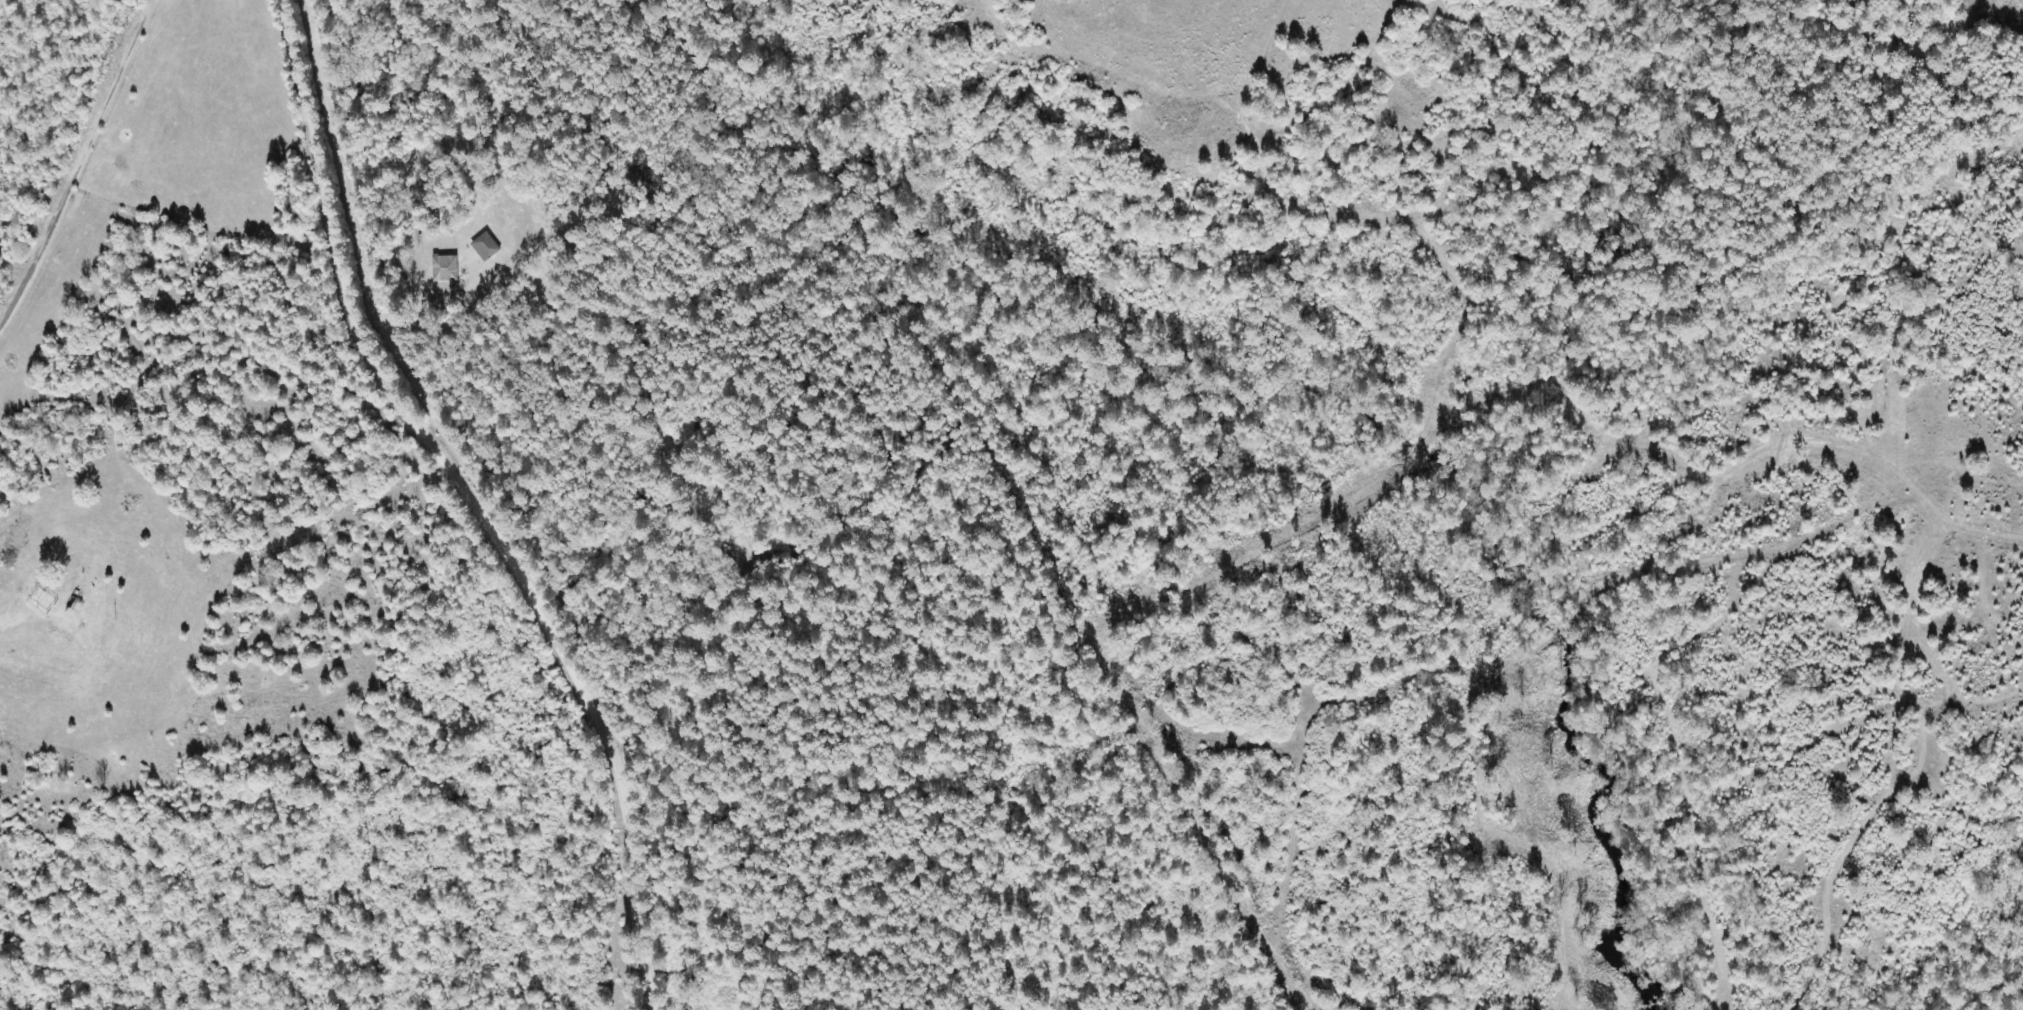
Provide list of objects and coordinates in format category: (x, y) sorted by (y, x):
road: (154, 19)
road: (75, 178)
building: (485, 246)
building: (445, 268)
road: (456, 466)

